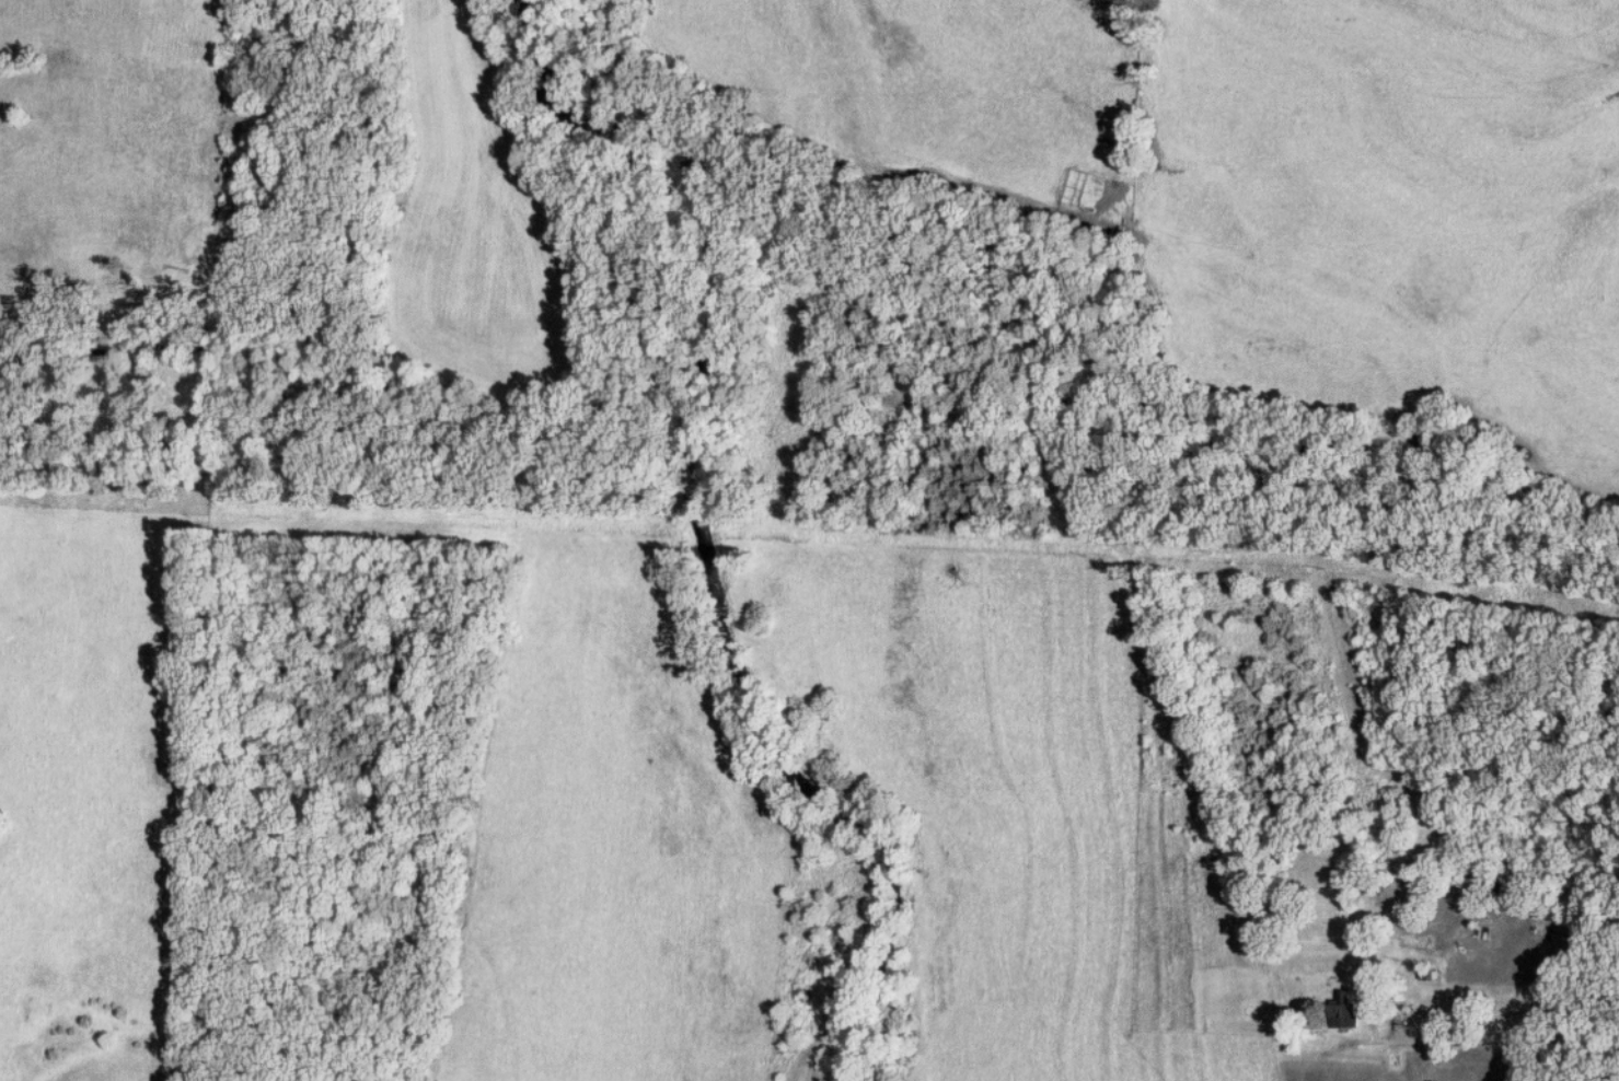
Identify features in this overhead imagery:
building: (1293, 888)
building: (1344, 1010)
road: (1485, 1042)

